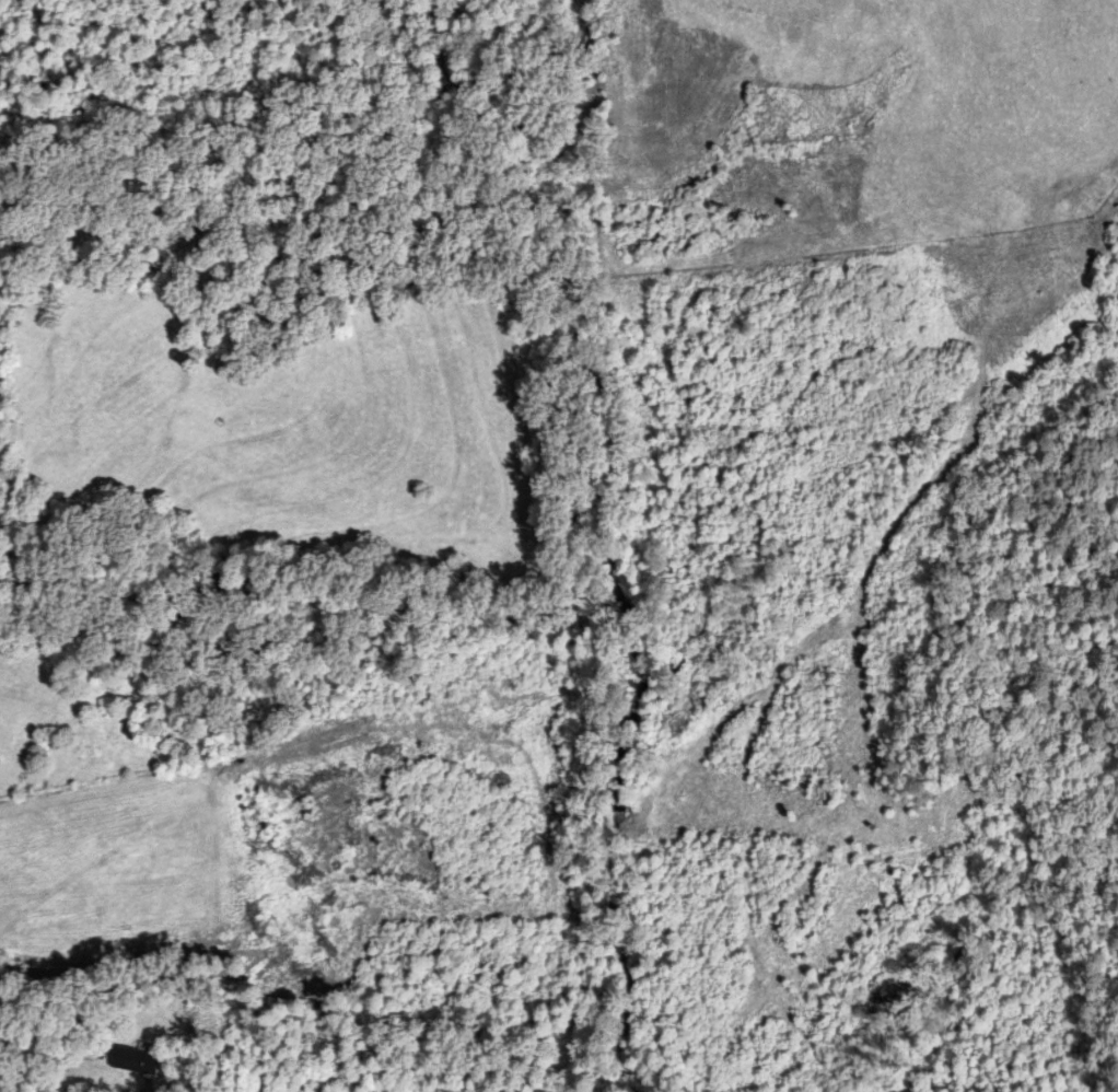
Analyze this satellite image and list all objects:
building: (132, 1060)

